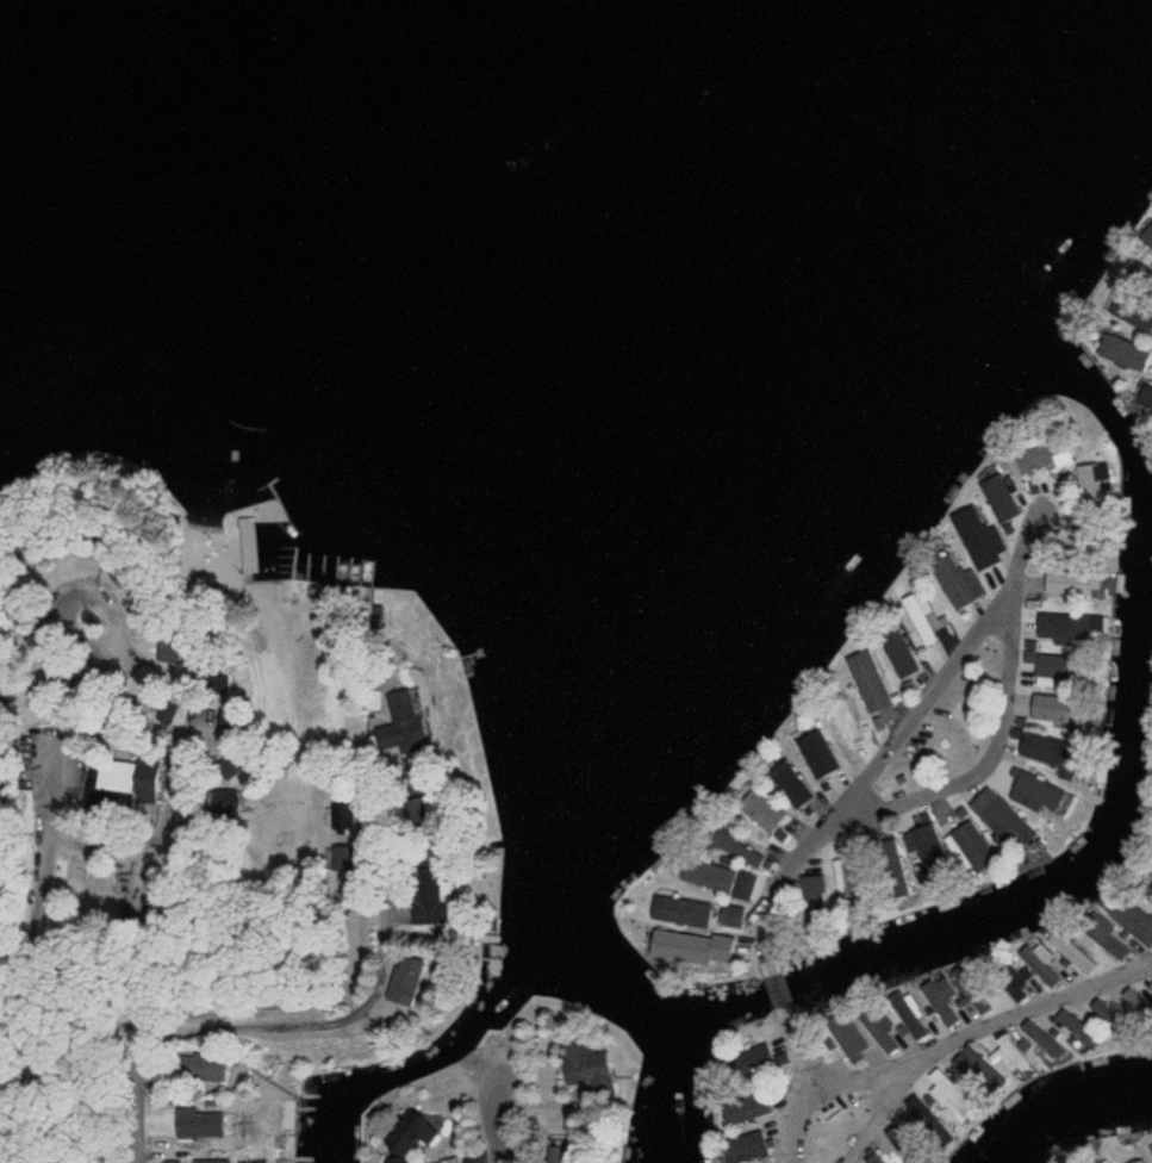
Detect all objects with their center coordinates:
building: (1140, 315)
building: (1123, 352)
building: (1041, 455)
building: (1097, 477)
building: (1002, 496)
building: (982, 542)
building: (255, 545)
building: (955, 581)
building: (922, 618)
building: (898, 651)
building: (868, 680)
building: (387, 704)
building: (845, 719)
building: (422, 721)
road: (896, 738)
road: (988, 761)
building: (141, 775)
road: (12, 784)
building: (1040, 789)
building: (351, 819)
building: (706, 875)
road: (381, 883)
building: (1146, 887)
building: (438, 898)
building: (410, 914)
building: (690, 953)
building: (418, 979)
building: (1015, 989)
road: (784, 997)
building: (942, 999)
building: (982, 1003)
road: (25, 1009)
building: (705, 1012)
building: (910, 1013)
road: (986, 1027)
road: (182, 1028)
building: (882, 1032)
building: (847, 1038)
road: (807, 1058)
building: (739, 1059)
building: (587, 1063)
building: (942, 1088)
building: (746, 1107)
road: (885, 1111)
road: (796, 1120)
building: (207, 1122)
road: (500, 1125)
building: (421, 1134)
building: (743, 1146)
building: (1091, 1159)
building: (217, 1162)
building: (1135, 1162)

